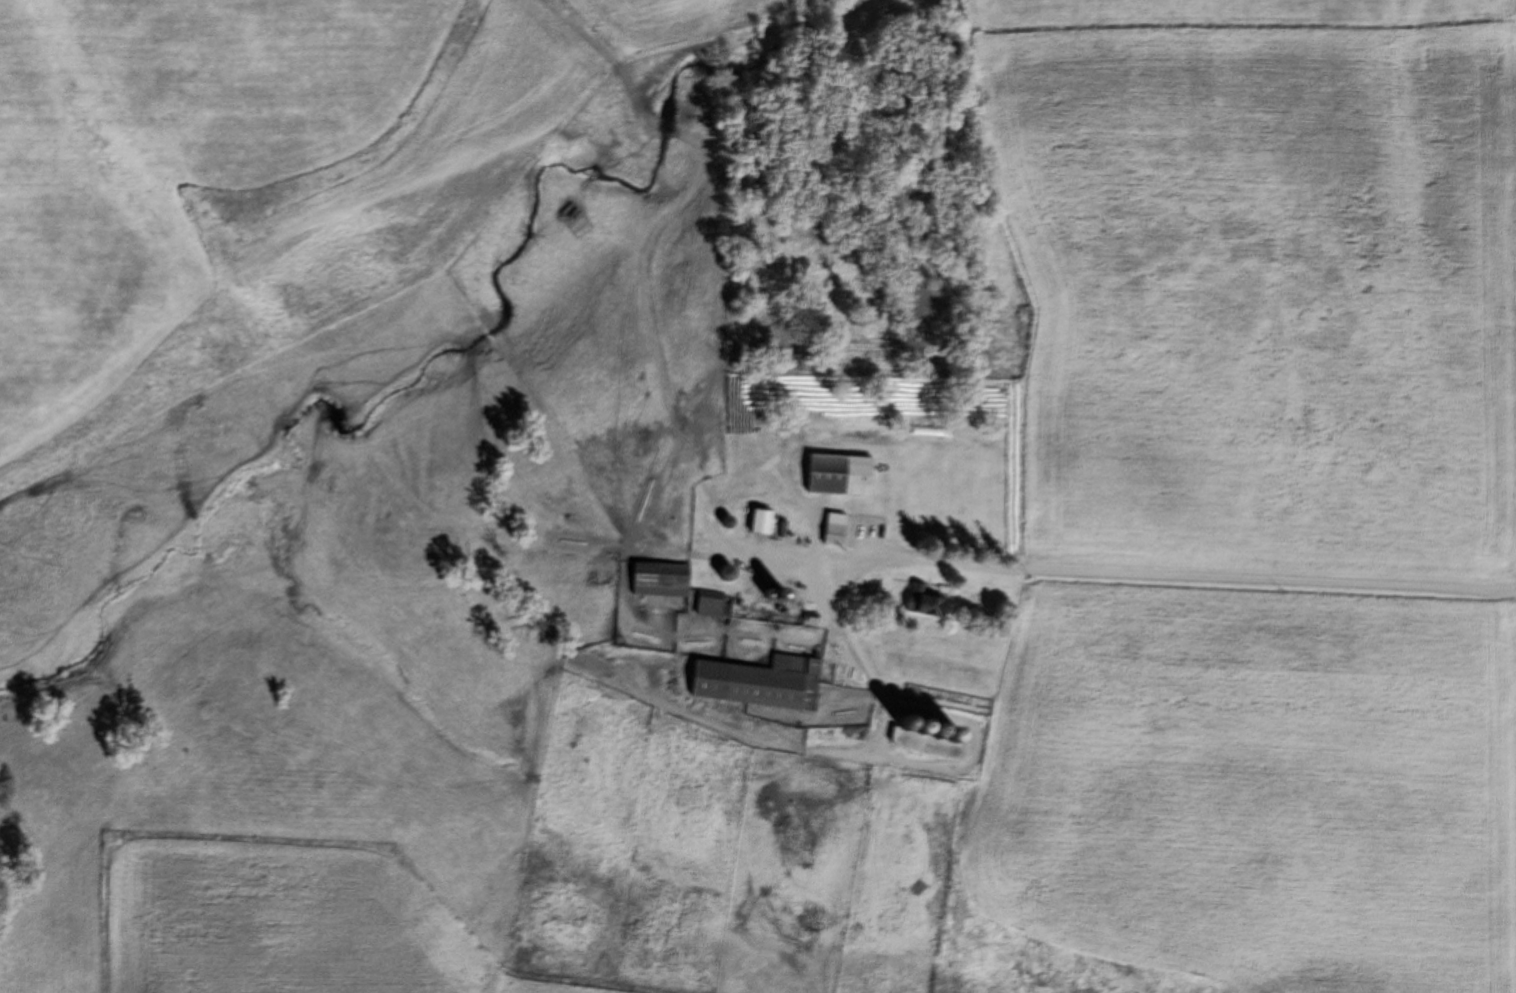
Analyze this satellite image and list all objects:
building: (833, 475)
building: (755, 523)
building: (830, 530)
road: (1106, 575)
building: (654, 581)
building: (919, 605)
building: (706, 606)
building: (833, 676)
building: (752, 685)

